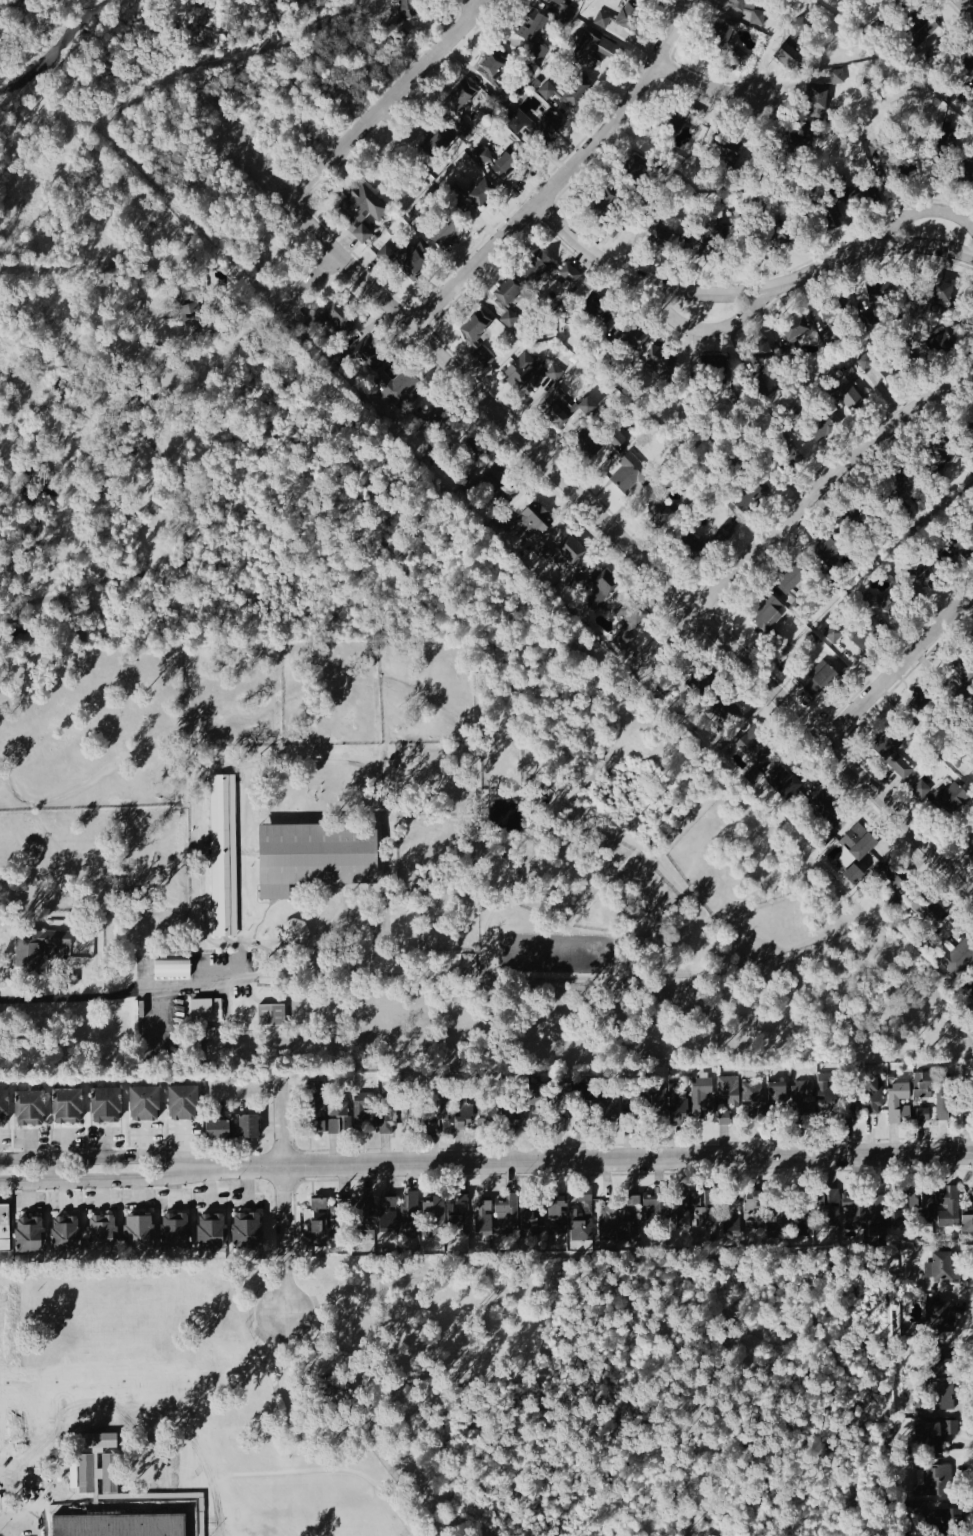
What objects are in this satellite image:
building: (558, 2)
building: (741, 3)
road: (967, 5)
building: (405, 8)
building: (626, 18)
building: (603, 21)
building: (530, 26)
building: (798, 26)
building: (729, 32)
building: (718, 35)
river: (55, 38)
building: (925, 38)
building: (593, 54)
building: (790, 59)
building: (960, 64)
building: (491, 67)
road: (708, 74)
building: (564, 92)
building: (500, 97)
building: (456, 99)
road: (389, 101)
building: (533, 125)
building: (432, 140)
building: (484, 155)
building: (722, 155)
building: (503, 166)
road: (563, 172)
building: (633, 173)
building: (963, 175)
building: (475, 196)
building: (601, 202)
road: (923, 208)
building: (363, 213)
building: (420, 217)
building: (824, 218)
building: (444, 231)
building: (662, 242)
building: (410, 262)
building: (548, 274)
road: (311, 283)
road: (743, 289)
building: (507, 292)
building: (881, 292)
building: (938, 293)
building: (187, 294)
building: (583, 306)
building: (196, 310)
building: (970, 310)
building: (830, 312)
building: (340, 320)
building: (508, 320)
road: (701, 327)
building: (794, 328)
building: (477, 337)
road: (186, 339)
building: (635, 339)
building: (758, 353)
building: (655, 359)
building: (364, 360)
building: (716, 371)
building: (524, 376)
building: (894, 379)
building: (397, 388)
building: (854, 398)
building: (572, 414)
building: (439, 416)
building: (432, 427)
building: (969, 427)
building: (935, 445)
building: (595, 446)
building: (787, 457)
building: (628, 475)
building: (901, 478)
building: (495, 481)
building: (743, 496)
building: (755, 501)
road: (792, 506)
building: (656, 513)
road: (602, 518)
building: (854, 519)
building: (528, 524)
building: (718, 541)
building: (964, 547)
building: (688, 549)
building: (827, 551)
building: (568, 553)
building: (931, 577)
building: (790, 581)
building: (799, 582)
building: (601, 590)
building: (902, 609)
building: (886, 610)
building: (630, 615)
building: (767, 615)
building: (849, 634)
building: (969, 646)
road: (898, 669)
building: (953, 675)
building: (824, 679)
building: (924, 704)
building: (751, 739)
building: (891, 755)
building: (963, 759)
building: (783, 784)
building: (920, 791)
building: (948, 801)
building: (857, 844)
building: (222, 857)
building: (314, 857)
road: (962, 857)
crop: (409, 873)
building: (885, 879)
building: (924, 915)
building: (293, 934)
building: (88, 948)
building: (37, 951)
building: (963, 959)
building: (171, 967)
building: (971, 988)
road: (121, 989)
building: (205, 1012)
building: (270, 1016)
building: (921, 1086)
building: (728, 1092)
building: (320, 1095)
building: (830, 1095)
building: (702, 1097)
building: (752, 1097)
building: (872, 1097)
building: (777, 1100)
building: (941, 1100)
building: (817, 1102)
building: (969, 1102)
building: (630, 1103)
building: (182, 1104)
building: (898, 1104)
building: (143, 1105)
building: (105, 1106)
building: (6, 1107)
building: (674, 1107)
building: (67, 1108)
building: (536, 1108)
building: (29, 1110)
building: (606, 1110)
building: (489, 1113)
building: (364, 1115)
building: (461, 1115)
building: (316, 1116)
building: (338, 1116)
building: (922, 1116)
building: (387, 1118)
building: (512, 1118)
building: (410, 1120)
building: (440, 1120)
road: (282, 1125)
building: (247, 1128)
building: (216, 1131)
road: (106, 1157)
road: (592, 1159)
road: (107, 1181)
building: (946, 1202)
building: (656, 1203)
building: (412, 1209)
building: (752, 1209)
building: (779, 1211)
building: (694, 1212)
building: (457, 1213)
building: (897, 1213)
building: (390, 1214)
building: (496, 1215)
building: (968, 1215)
building: (838, 1216)
building: (631, 1217)
building: (581, 1218)
building: (329, 1219)
building: (365, 1219)
building: (557, 1219)
building: (730, 1219)
building: (796, 1223)
building: (607, 1224)
building: (529, 1225)
building: (5, 1231)
building: (175, 1233)
building: (210, 1233)
building: (246, 1233)
building: (137, 1234)
building: (101, 1235)
building: (28, 1236)
building: (64, 1236)
road: (285, 1240)
building: (940, 1266)
building: (942, 1316)
building: (937, 1365)
building: (941, 1389)
building: (930, 1441)
road: (299, 1473)
building: (937, 1482)
road: (21, 1520)
building: (948, 1521)
building: (88, 1522)

